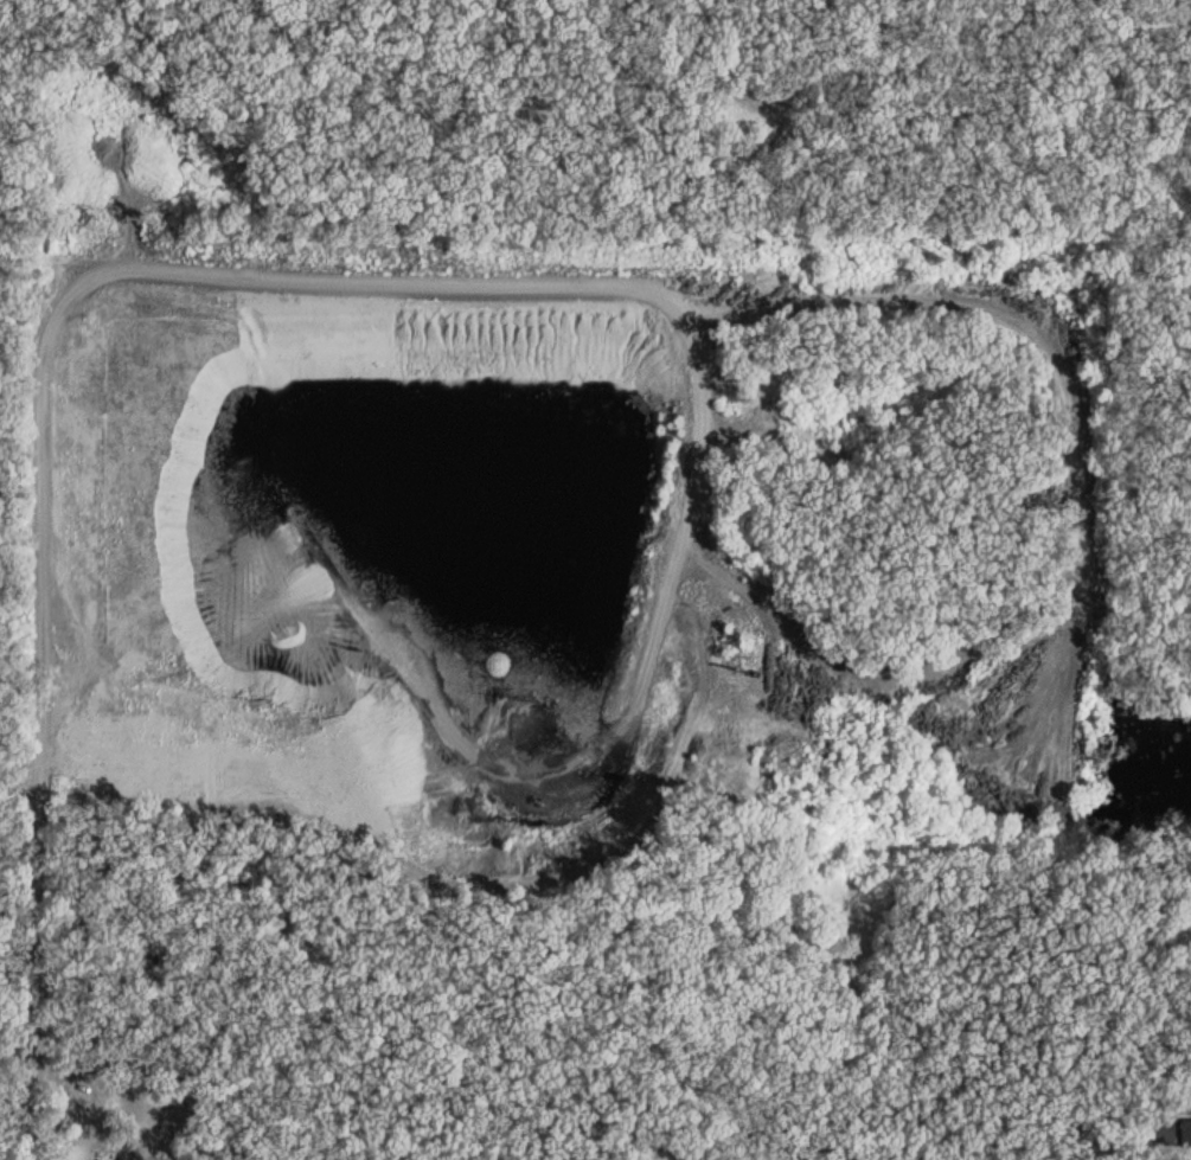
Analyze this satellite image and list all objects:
road: (43, 713)
building: (1184, 1134)

